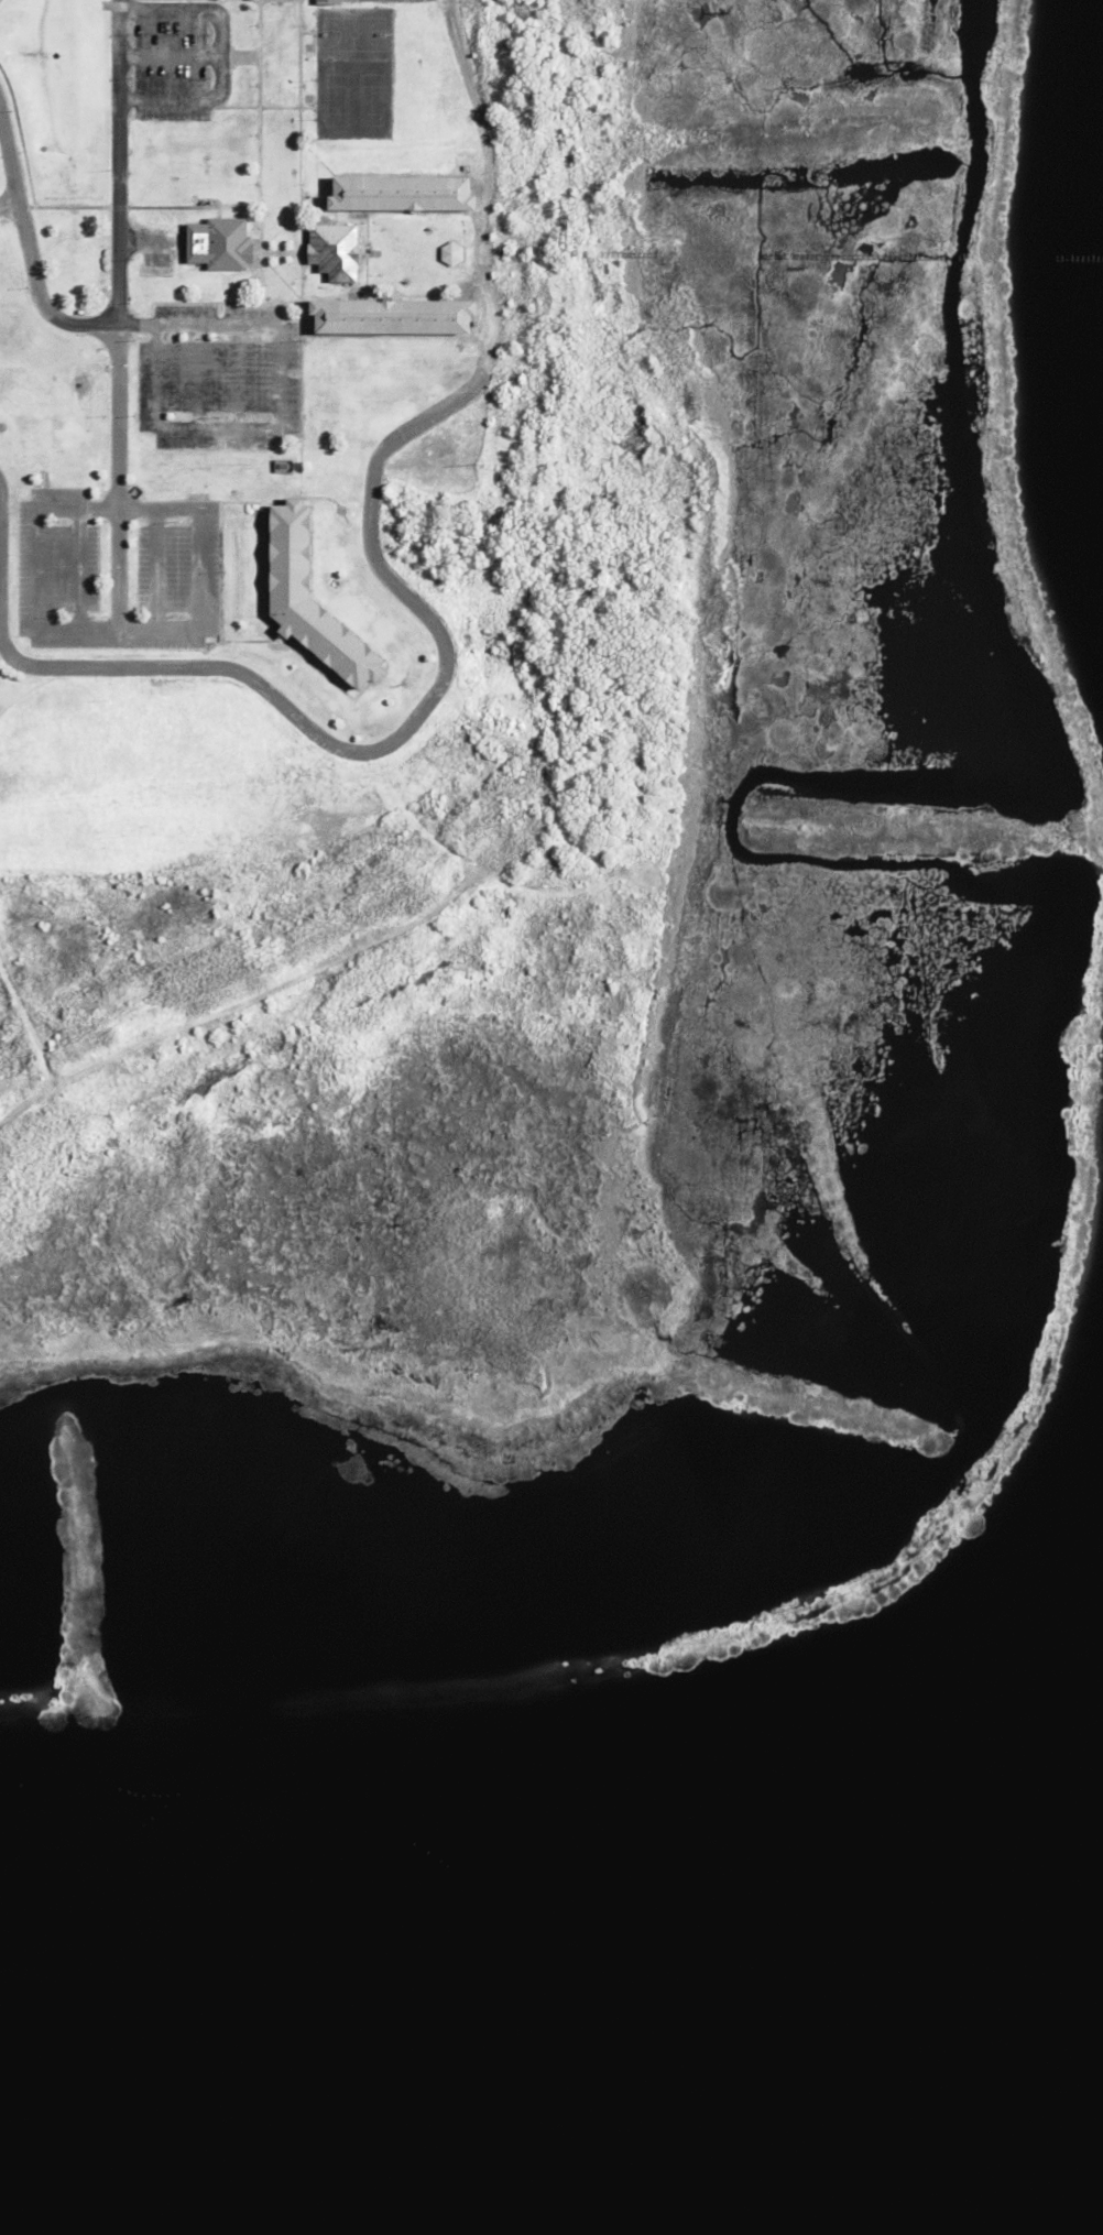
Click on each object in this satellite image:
building: (327, 2)
building: (307, 46)
parking lot: (178, 56)
building: (306, 98)
building: (400, 198)
road: (150, 239)
road: (30, 246)
building: (218, 246)
road: (122, 248)
building: (332, 252)
building: (450, 253)
building: (391, 321)
parking lot: (219, 372)
building: (339, 511)
parking lot: (117, 568)
road: (379, 576)
building: (309, 604)
road: (114, 630)
building: (403, 683)

